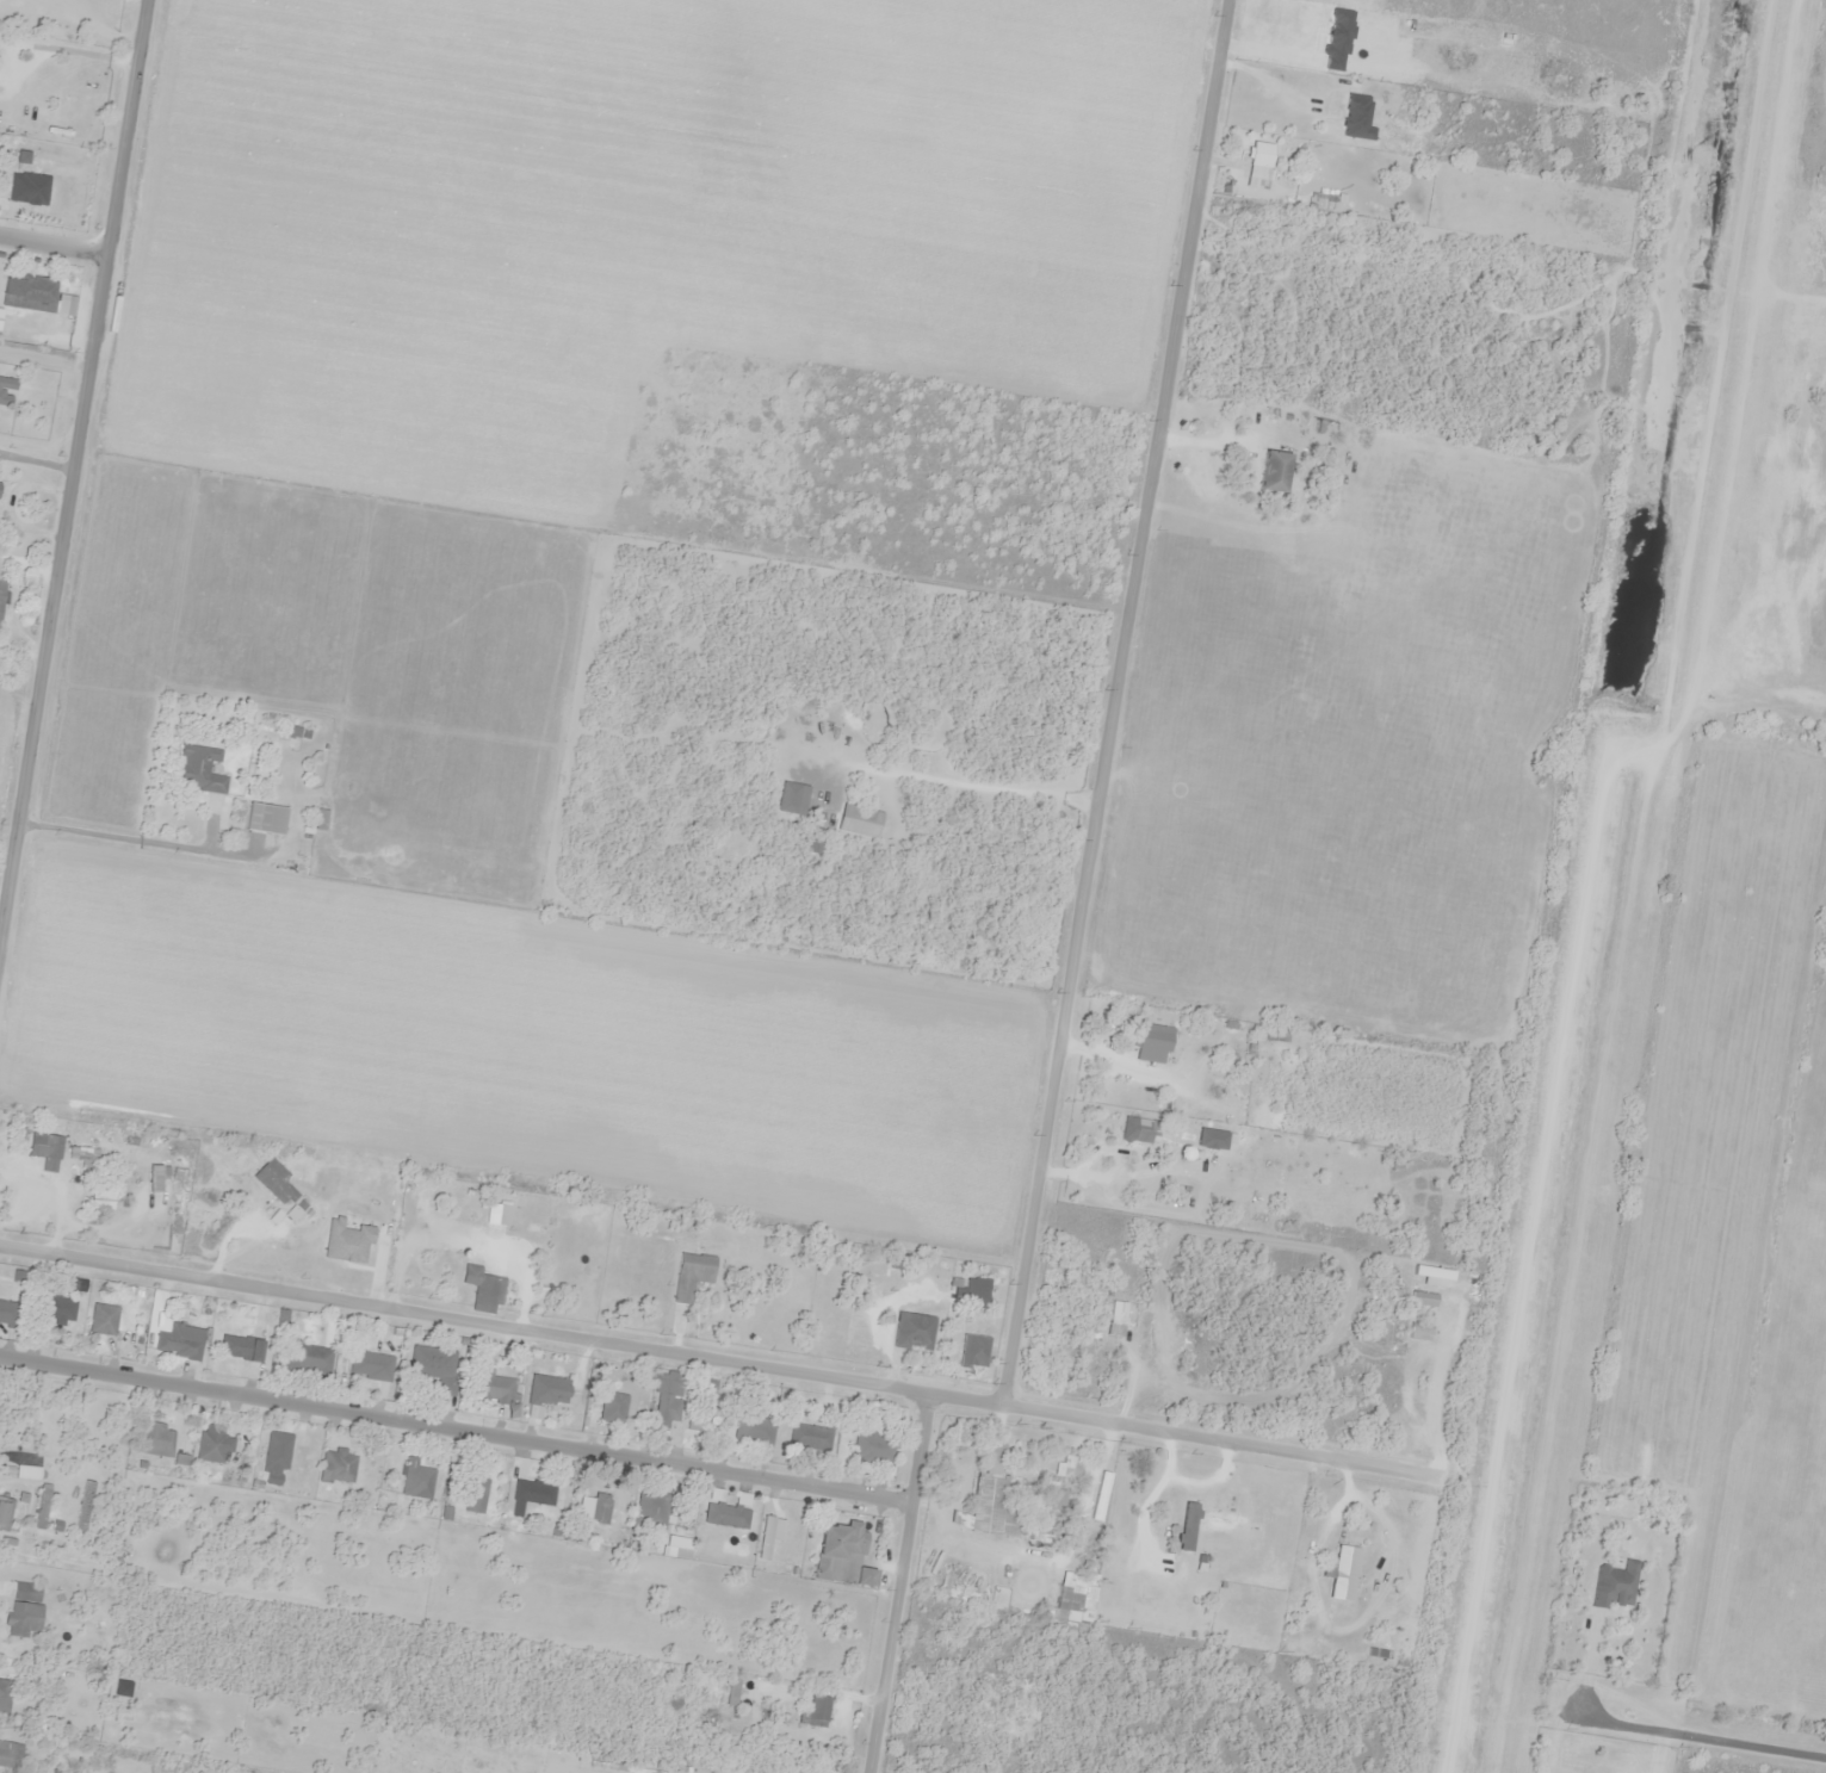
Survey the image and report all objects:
building: (1355, 117)
building: (1257, 161)
building: (30, 188)
road: (54, 240)
building: (31, 292)
building: (1, 316)
building: (7, 391)
road: (73, 470)
building: (1270, 471)
building: (0, 483)
building: (2, 594)
road: (1113, 701)
building: (198, 769)
building: (262, 819)
building: (318, 819)
railway: (1658, 886)
road: (0, 932)
building: (1269, 1033)
building: (1147, 1041)
building: (1134, 1130)
building: (43, 1146)
building: (150, 1179)
building: (273, 1182)
building: (99, 1195)
building: (689, 1275)
building: (481, 1288)
building: (973, 1297)
building: (1420, 1304)
building: (60, 1309)
building: (7, 1310)
building: (105, 1319)
building: (1163, 1325)
building: (911, 1331)
building: (184, 1341)
building: (239, 1347)
building: (972, 1351)
building: (305, 1358)
road: (722, 1358)
building: (370, 1365)
building: (433, 1365)
building: (494, 1387)
building: (545, 1389)
building: (664, 1400)
building: (611, 1407)
building: (701, 1416)
road: (457, 1426)
building: (751, 1430)
building: (809, 1437)
building: (156, 1439)
building: (212, 1446)
building: (871, 1447)
building: (274, 1457)
building: (336, 1465)
building: (29, 1473)
building: (414, 1478)
building: (472, 1494)
building: (528, 1494)
building: (988, 1499)
building: (652, 1505)
building: (590, 1506)
building: (5, 1508)
building: (44, 1508)
building: (1045, 1513)
building: (724, 1514)
building: (1186, 1525)
building: (840, 1554)
building: (1338, 1568)
road: (902, 1582)
building: (1614, 1586)
building: (1071, 1602)
building: (26, 1610)
building: (5, 1695)
road: (1709, 1731)
building: (10, 1754)

